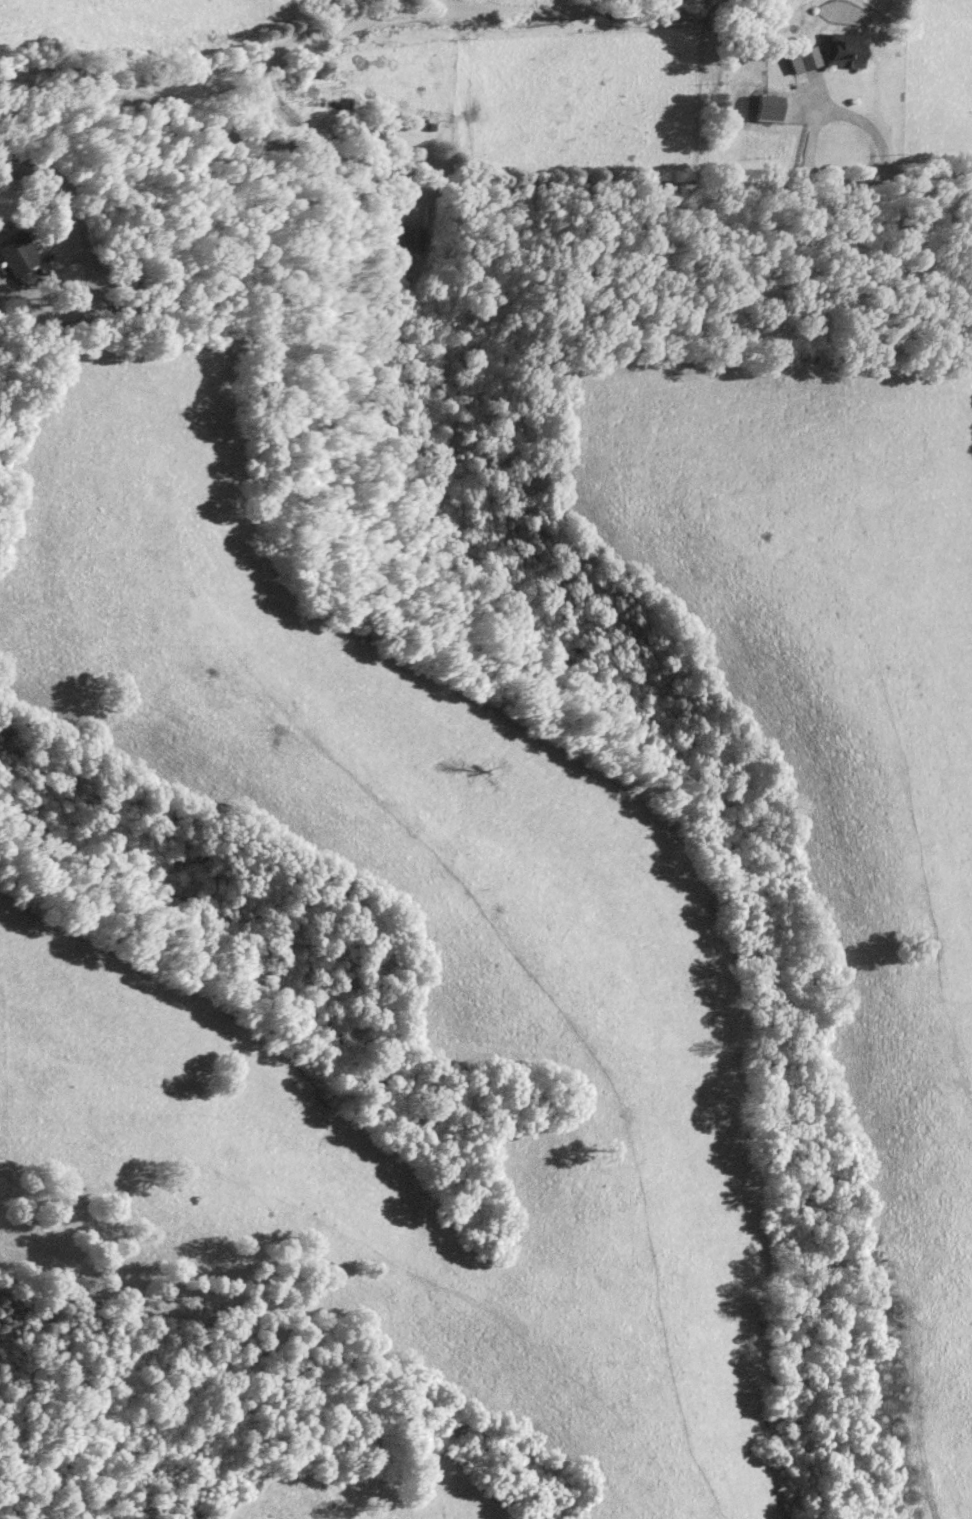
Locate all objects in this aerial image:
road: (337, 37)
building: (837, 50)
building: (795, 60)
building: (761, 108)
road: (54, 191)
building: (405, 239)
building: (14, 255)

